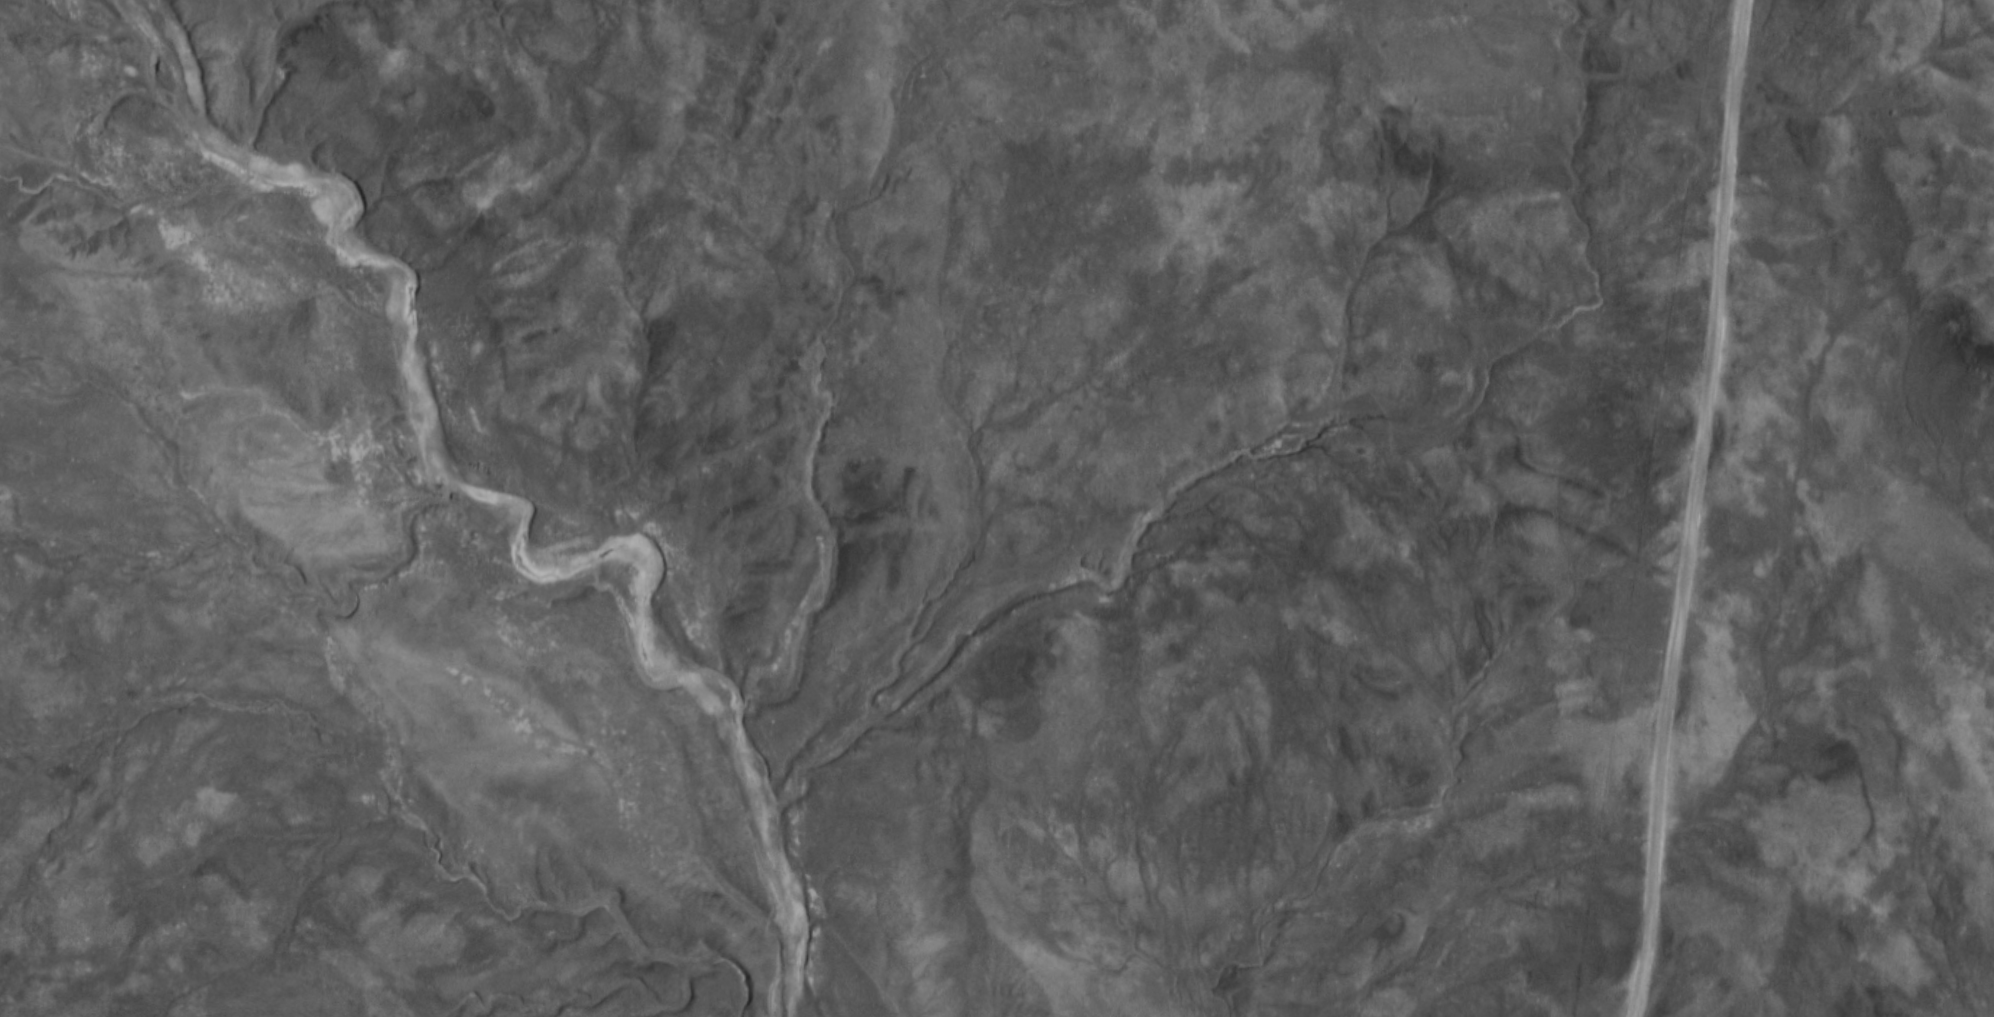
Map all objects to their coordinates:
road: (1691, 509)

